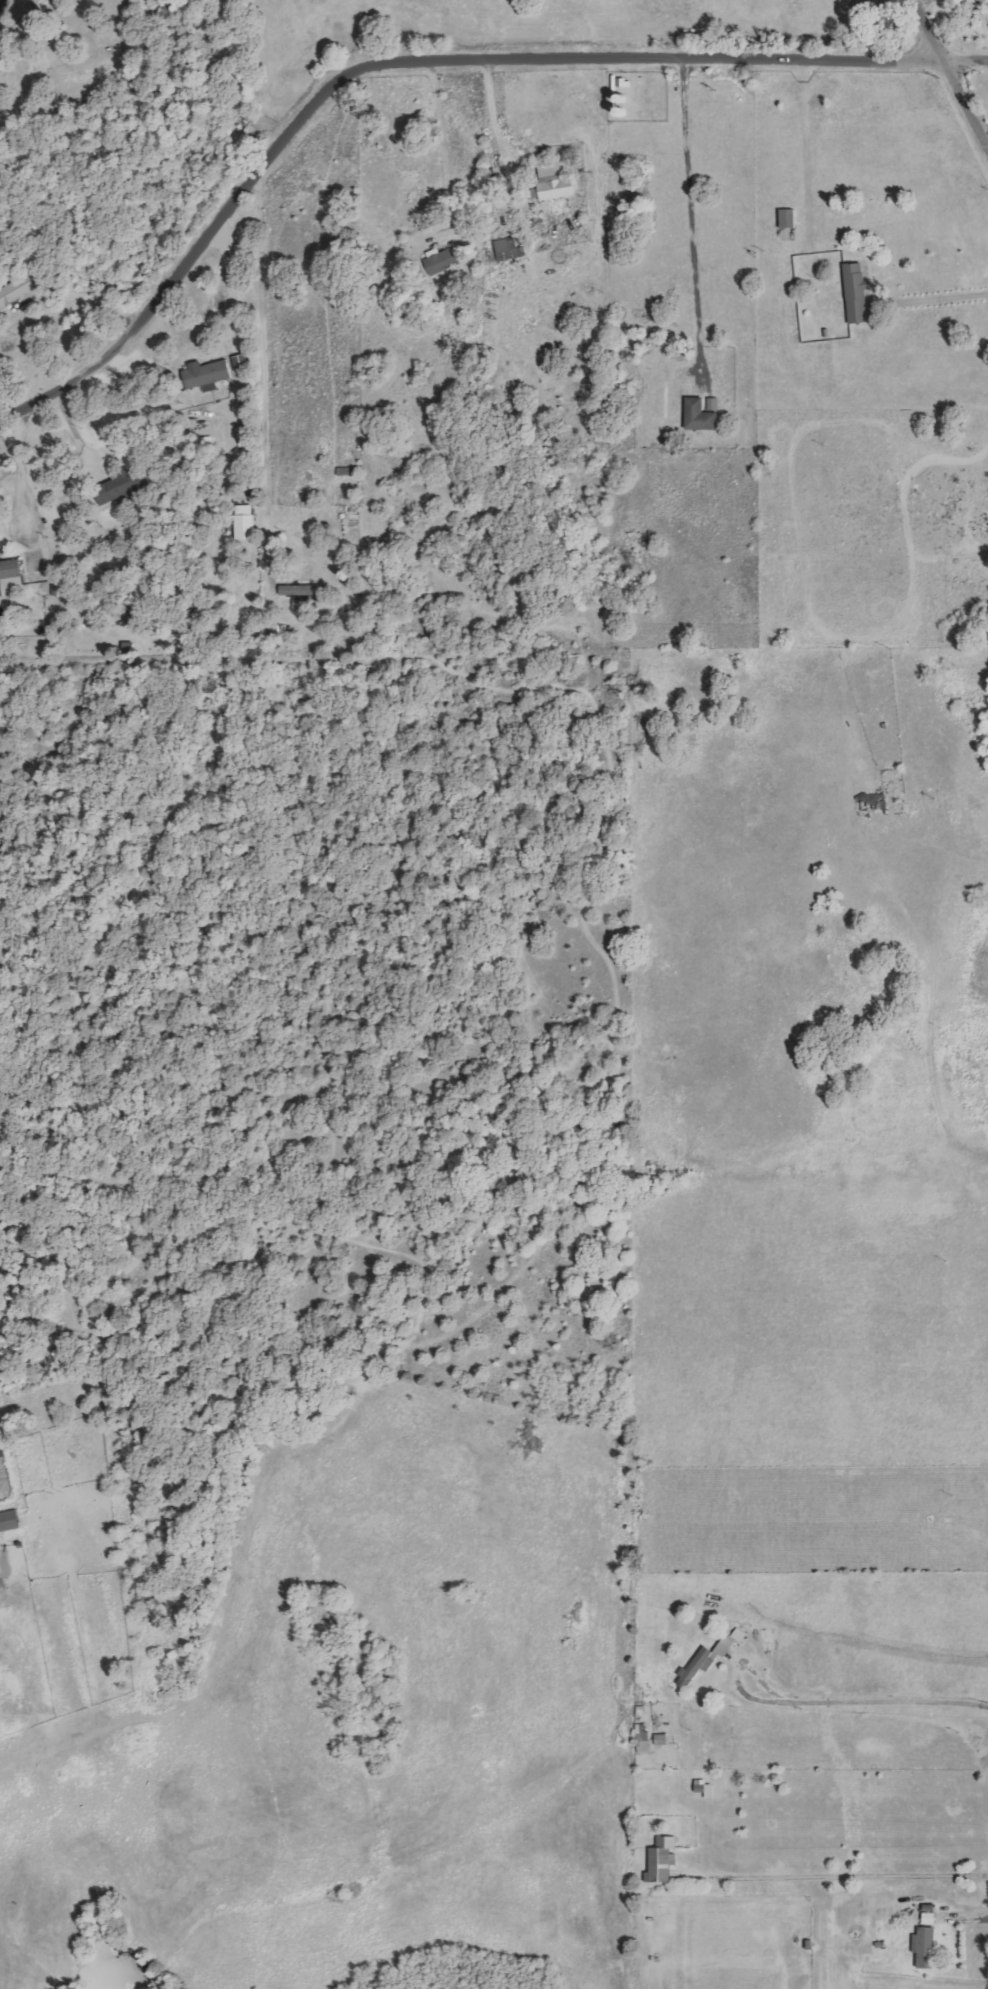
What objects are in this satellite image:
building: (974, 2)
road: (418, 59)
road: (947, 76)
building: (556, 183)
building: (789, 218)
building: (509, 250)
building: (443, 260)
building: (16, 290)
building: (858, 293)
building: (208, 375)
building: (714, 404)
building: (701, 415)
building: (120, 484)
building: (247, 522)
building: (9, 572)
building: (129, 616)
building: (10, 1521)
building: (706, 1661)
building: (643, 1737)
building: (662, 1739)
building: (664, 1860)
building: (927, 1946)

